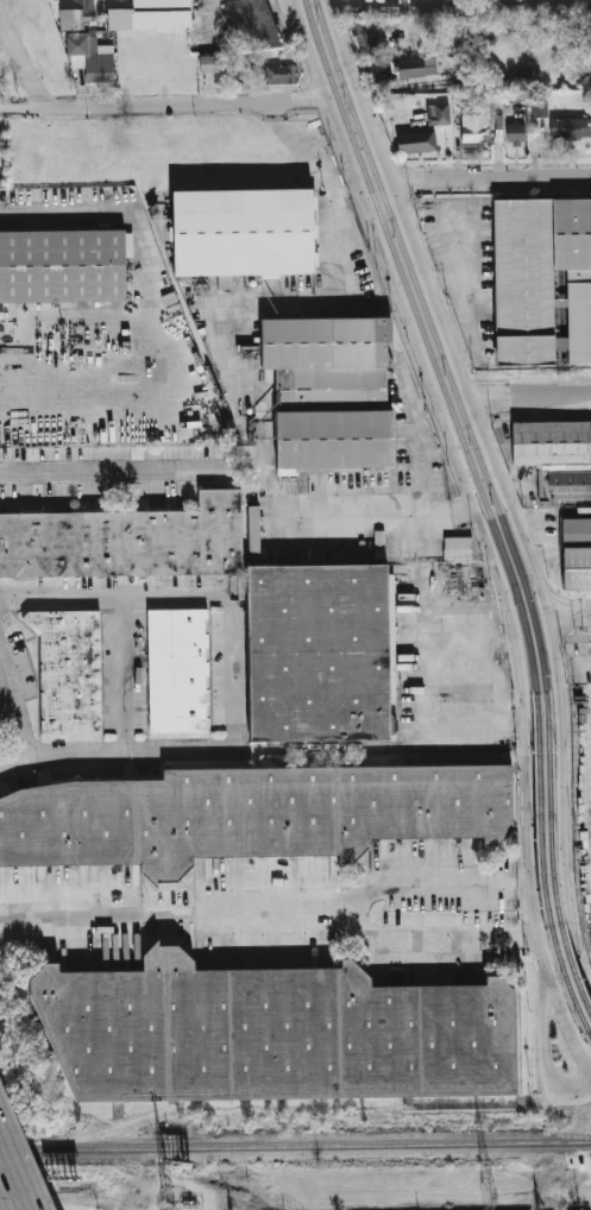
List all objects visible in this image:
building: (358, 5)
building: (388, 5)
building: (420, 5)
building: (513, 5)
building: (571, 5)
building: (540, 6)
building: (149, 13)
building: (77, 14)
building: (252, 21)
building: (514, 25)
building: (370, 40)
building: (92, 58)
road: (23, 62)
building: (208, 63)
building: (416, 67)
building: (281, 74)
road: (162, 103)
building: (539, 108)
building: (442, 113)
building: (570, 128)
building: (474, 132)
building: (516, 132)
building: (1, 140)
building: (415, 141)
road: (341, 176)
road: (489, 176)
building: (241, 233)
building: (65, 264)
building: (541, 277)
road: (84, 327)
road: (170, 333)
road: (220, 335)
building: (326, 340)
railway: (426, 342)
railway: (435, 342)
road: (529, 396)
building: (333, 436)
road: (419, 445)
road: (455, 450)
building: (554, 455)
road: (108, 468)
road: (465, 505)
road: (510, 506)
building: (253, 530)
building: (576, 530)
building: (125, 540)
building: (457, 547)
building: (574, 568)
road: (114, 598)
road: (502, 607)
road: (459, 612)
road: (568, 613)
building: (317, 651)
building: (180, 668)
building: (70, 669)
road: (230, 669)
road: (117, 672)
road: (425, 695)
road: (15, 705)
road: (113, 746)
building: (250, 813)
railway: (549, 859)
railway: (539, 872)
road: (433, 884)
road: (172, 914)
road: (436, 938)
road: (584, 982)
road: (559, 997)
road: (542, 1023)
building: (271, 1032)
road: (578, 1092)
road: (485, 1102)
road: (235, 1105)
railway: (295, 1147)
road: (13, 1178)
power tower: (488, 1193)
power tower: (165, 1199)

